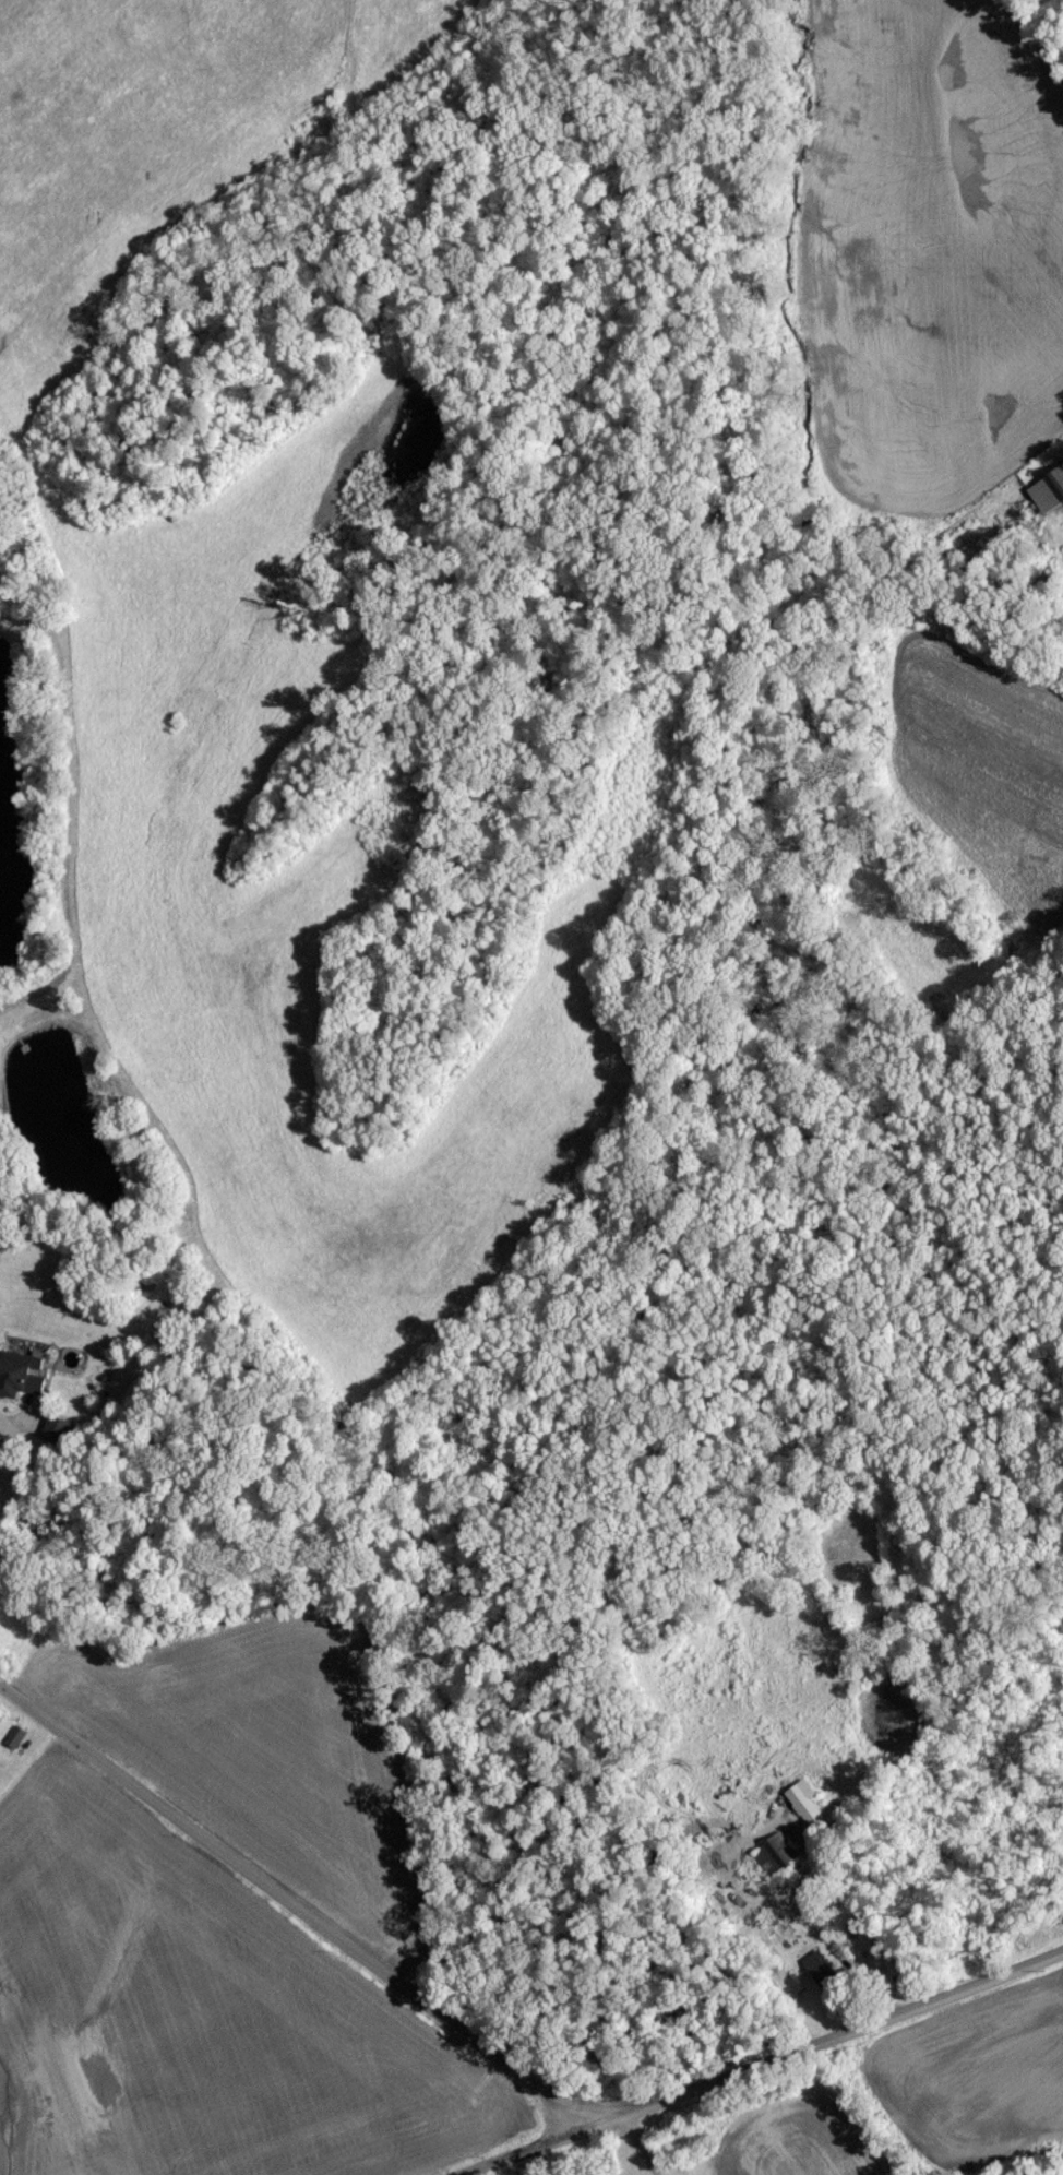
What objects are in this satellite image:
building: (24, 1382)
building: (17, 1744)
road: (291, 1910)
road: (765, 2056)
road: (637, 2146)

